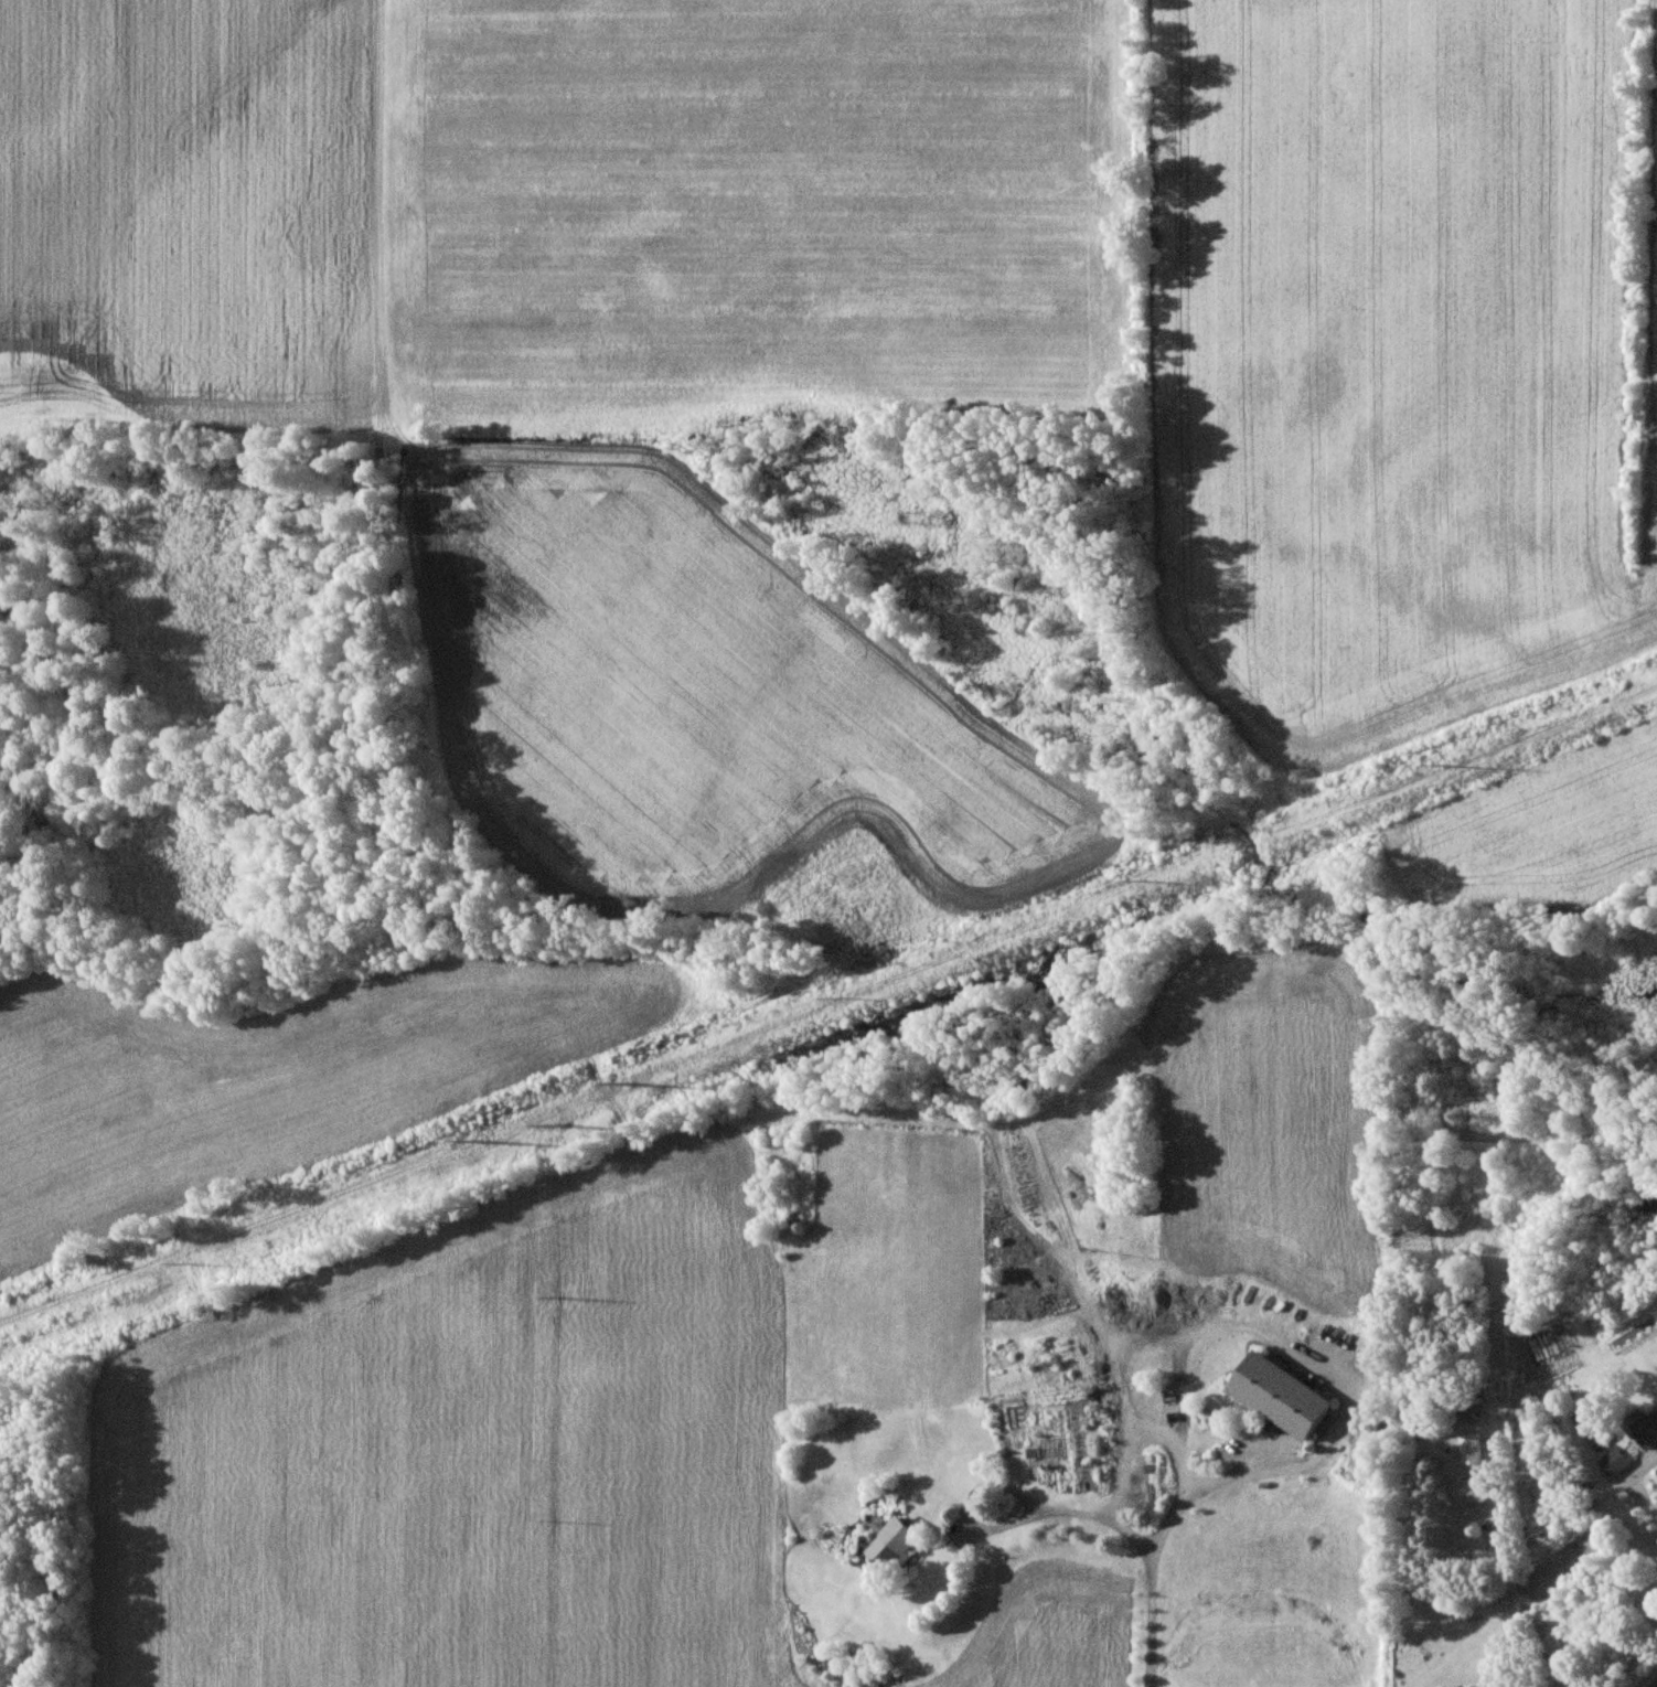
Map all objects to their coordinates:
building: (793, 1214)
building: (1280, 1396)
building: (1647, 1433)
building: (1468, 1449)
building: (1613, 1463)
building: (1467, 1491)
road: (1639, 1501)
road: (1152, 1538)
building: (897, 1545)

